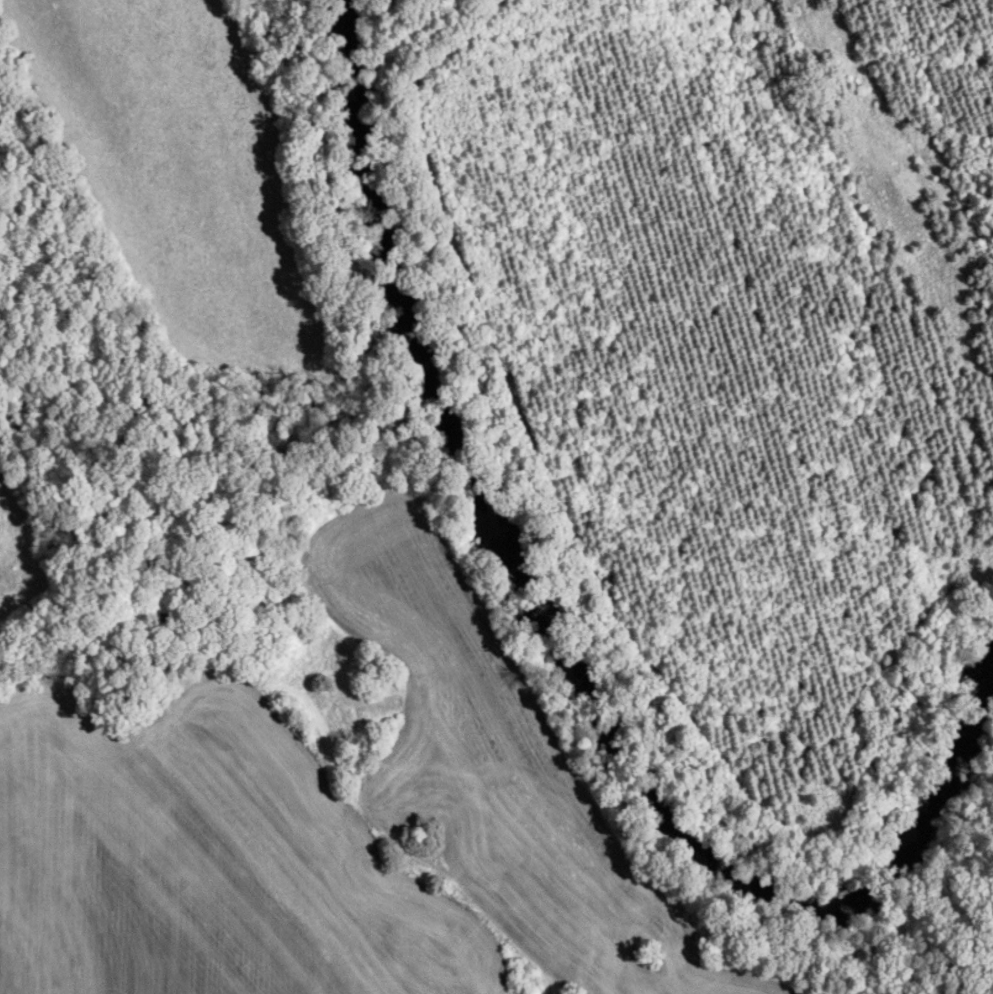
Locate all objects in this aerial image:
river: (549, 661)

